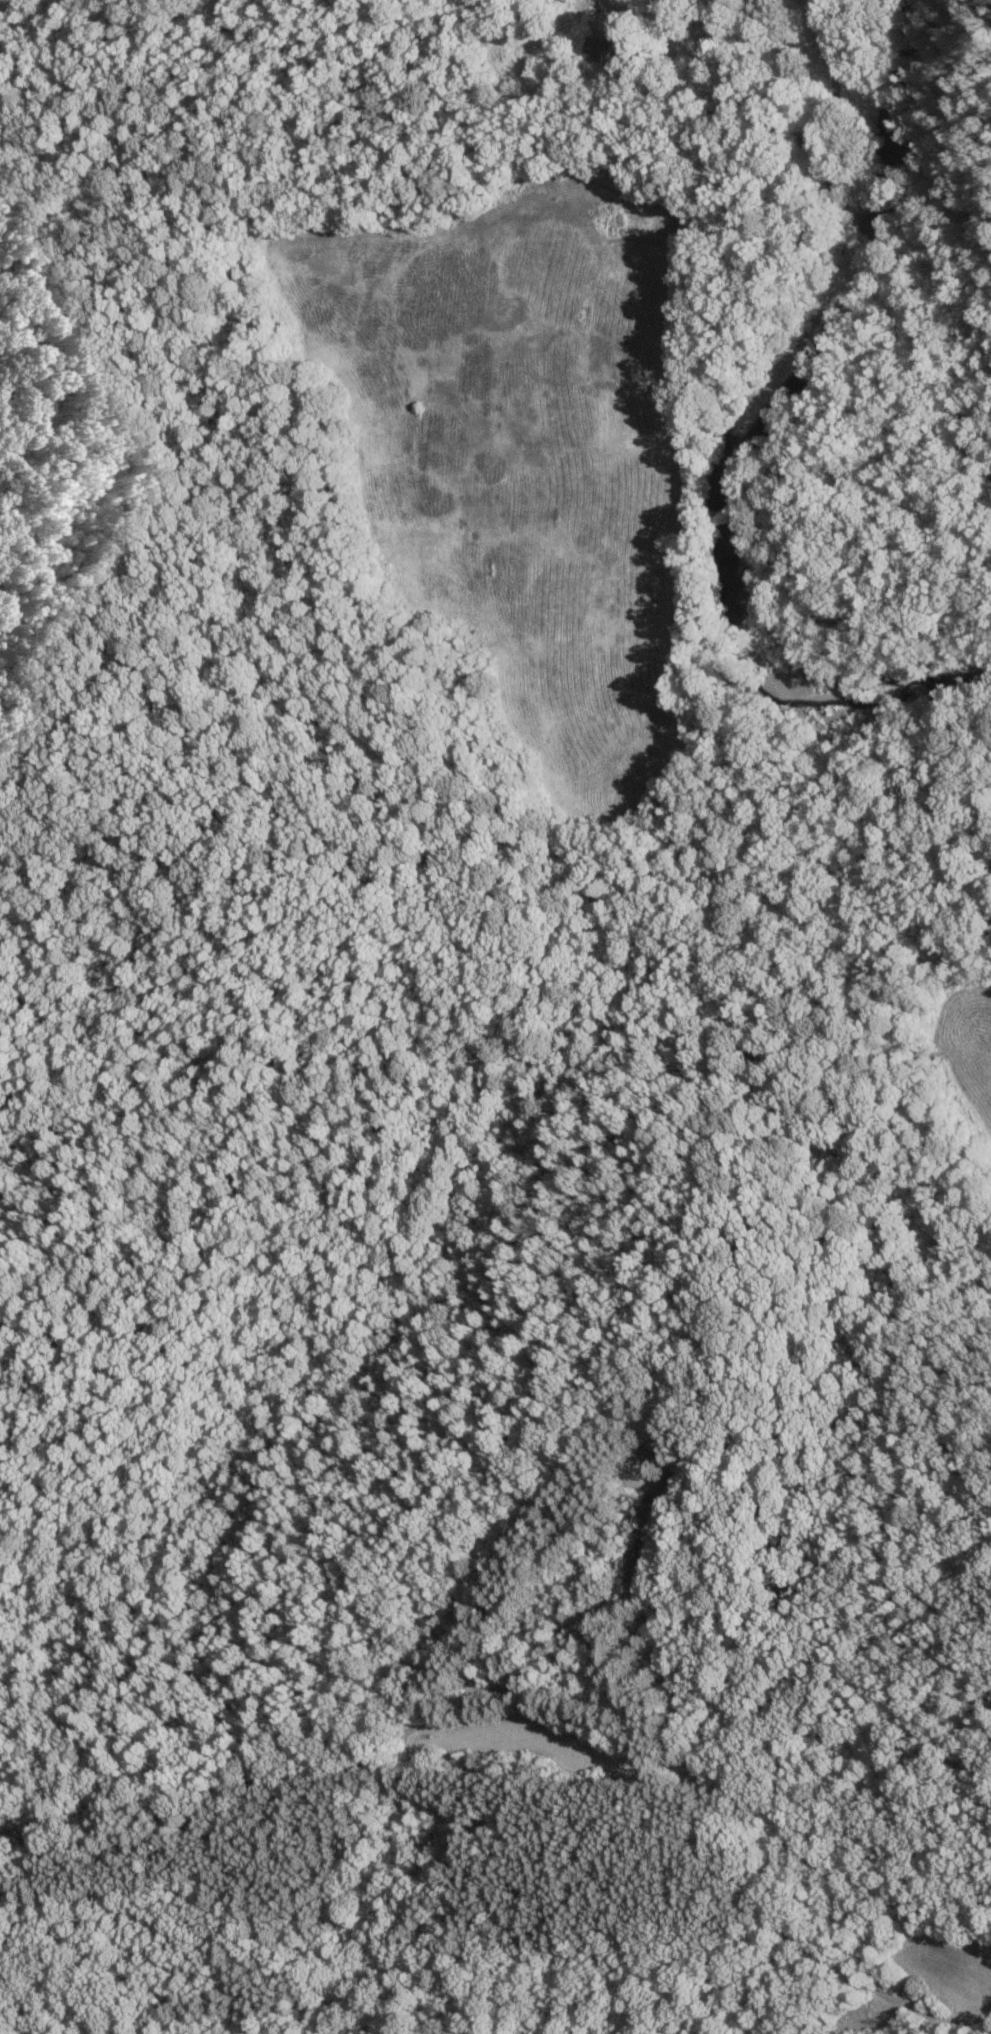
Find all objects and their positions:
road: (814, 25)
road: (558, 44)
building: (597, 49)
road: (206, 161)
road: (899, 250)

